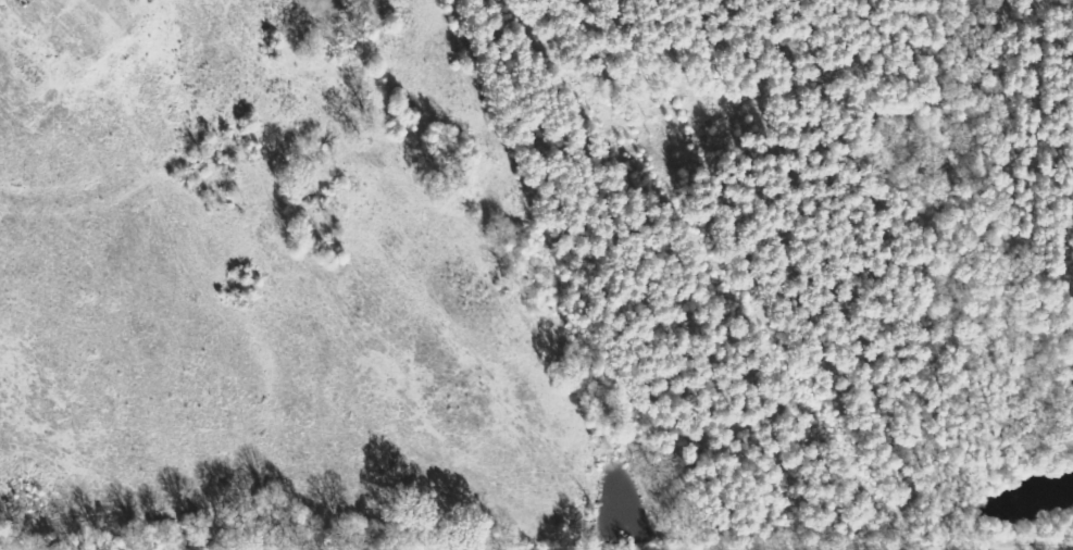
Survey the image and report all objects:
road: (810, 542)

